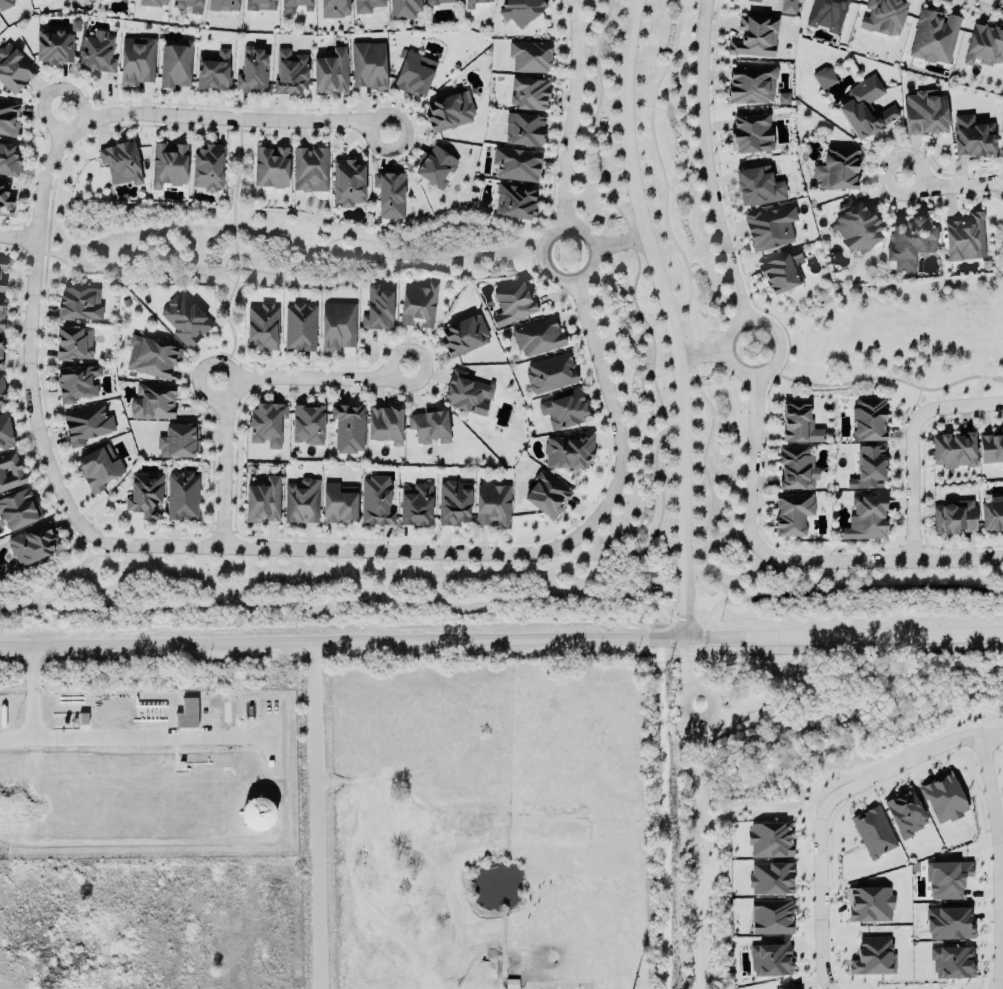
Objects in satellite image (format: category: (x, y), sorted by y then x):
building: (34, 0)
road: (999, 0)
building: (751, 1)
building: (438, 2)
building: (152, 3)
building: (472, 4)
building: (5, 5)
building: (187, 6)
building: (223, 6)
building: (259, 6)
building: (294, 6)
building: (366, 6)
building: (787, 7)
building: (332, 9)
building: (403, 9)
building: (519, 11)
building: (826, 15)
building: (882, 17)
road: (681, 29)
building: (933, 38)
building: (754, 39)
building: (983, 47)
building: (96, 53)
building: (528, 58)
building: (136, 62)
building: (175, 67)
building: (367, 67)
building: (13, 71)
building: (211, 72)
building: (288, 74)
building: (329, 74)
building: (413, 75)
building: (822, 79)
building: (750, 86)
building: (527, 95)
road: (70, 98)
building: (782, 100)
building: (865, 110)
road: (600, 111)
road: (574, 112)
building: (448, 113)
building: (924, 114)
road: (232, 118)
building: (8, 120)
road: (45, 120)
building: (522, 131)
building: (749, 135)
building: (971, 138)
building: (8, 163)
road: (707, 163)
building: (119, 164)
building: (515, 166)
building: (167, 167)
building: (206, 169)
building: (270, 169)
building: (434, 169)
building: (836, 169)
building: (309, 171)
building: (346, 184)
road: (952, 185)
building: (757, 188)
building: (388, 196)
building: (5, 203)
building: (513, 203)
building: (769, 229)
building: (855, 229)
road: (16, 236)
building: (964, 240)
road: (621, 242)
building: (908, 244)
building: (781, 273)
building: (1, 275)
road: (581, 278)
building: (78, 305)
building: (419, 306)
building: (514, 307)
building: (371, 313)
building: (1, 314)
road: (671, 316)
building: (183, 321)
building: (261, 328)
building: (299, 329)
building: (339, 330)
road: (26, 331)
road: (692, 331)
building: (464, 337)
building: (539, 341)
building: (72, 345)
road: (705, 354)
building: (150, 359)
building: (0, 361)
road: (758, 371)
road: (200, 373)
building: (552, 378)
road: (890, 382)
building: (75, 384)
road: (241, 385)
building: (1, 389)
building: (467, 396)
building: (151, 403)
building: (565, 412)
road: (665, 413)
building: (867, 421)
building: (797, 424)
building: (85, 426)
building: (269, 426)
building: (311, 427)
building: (385, 429)
building: (431, 431)
building: (4, 433)
building: (350, 433)
building: (177, 442)
road: (915, 449)
building: (990, 449)
building: (953, 452)
building: (572, 455)
building: (795, 470)
building: (867, 470)
building: (10, 473)
building: (143, 497)
building: (181, 498)
building: (543, 498)
building: (262, 503)
building: (303, 503)
building: (378, 503)
building: (340, 505)
building: (454, 505)
building: (417, 507)
building: (493, 509)
building: (791, 515)
building: (992, 516)
building: (953, 519)
building: (864, 521)
building: (30, 546)
road: (470, 554)
road: (788, 566)
road: (746, 596)
road: (510, 602)
road: (844, 635)
road: (342, 637)
road: (687, 664)
road: (876, 676)
building: (185, 715)
road: (706, 715)
building: (81, 720)
parking lot: (703, 721)
park: (772, 727)
road: (723, 729)
road: (103, 737)
road: (16, 738)
road: (897, 762)
road: (807, 779)
building: (943, 799)
road: (312, 813)
building: (254, 814)
building: (905, 815)
building: (873, 833)
building: (769, 840)
road: (994, 861)
building: (769, 879)
building: (945, 880)
building: (869, 905)
road: (698, 906)
road: (815, 909)
building: (770, 918)
building: (947, 924)
building: (870, 957)
building: (770, 959)
building: (951, 963)
building: (784, 986)

